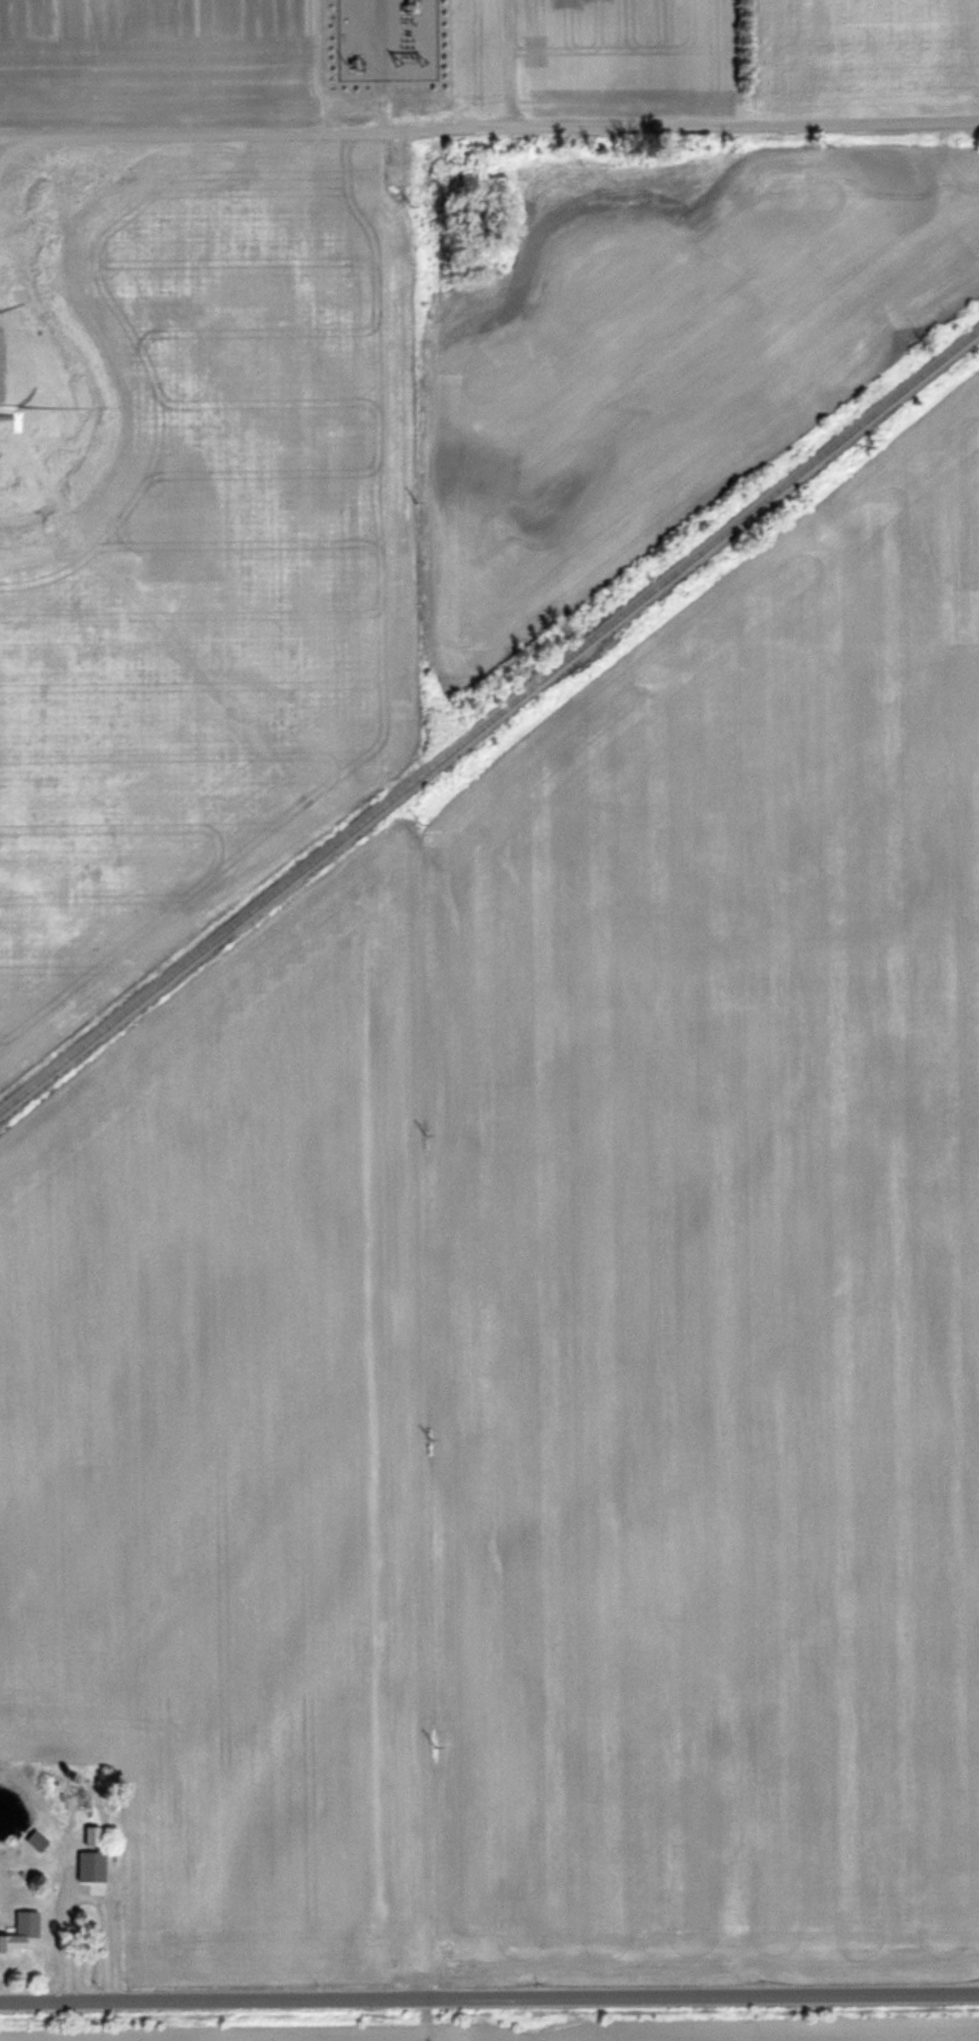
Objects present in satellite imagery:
power substation: (386, 39)
road: (511, 60)
road: (381, 100)
road: (489, 121)
power tower: (408, 199)
power tower: (411, 491)
railway: (489, 720)
power tower: (415, 814)
power tower: (422, 1128)
power tower: (428, 1434)
power tower: (435, 1742)
building: (76, 1792)
building: (95, 1843)
road: (83, 1895)
building: (14, 1942)
road: (489, 2000)

